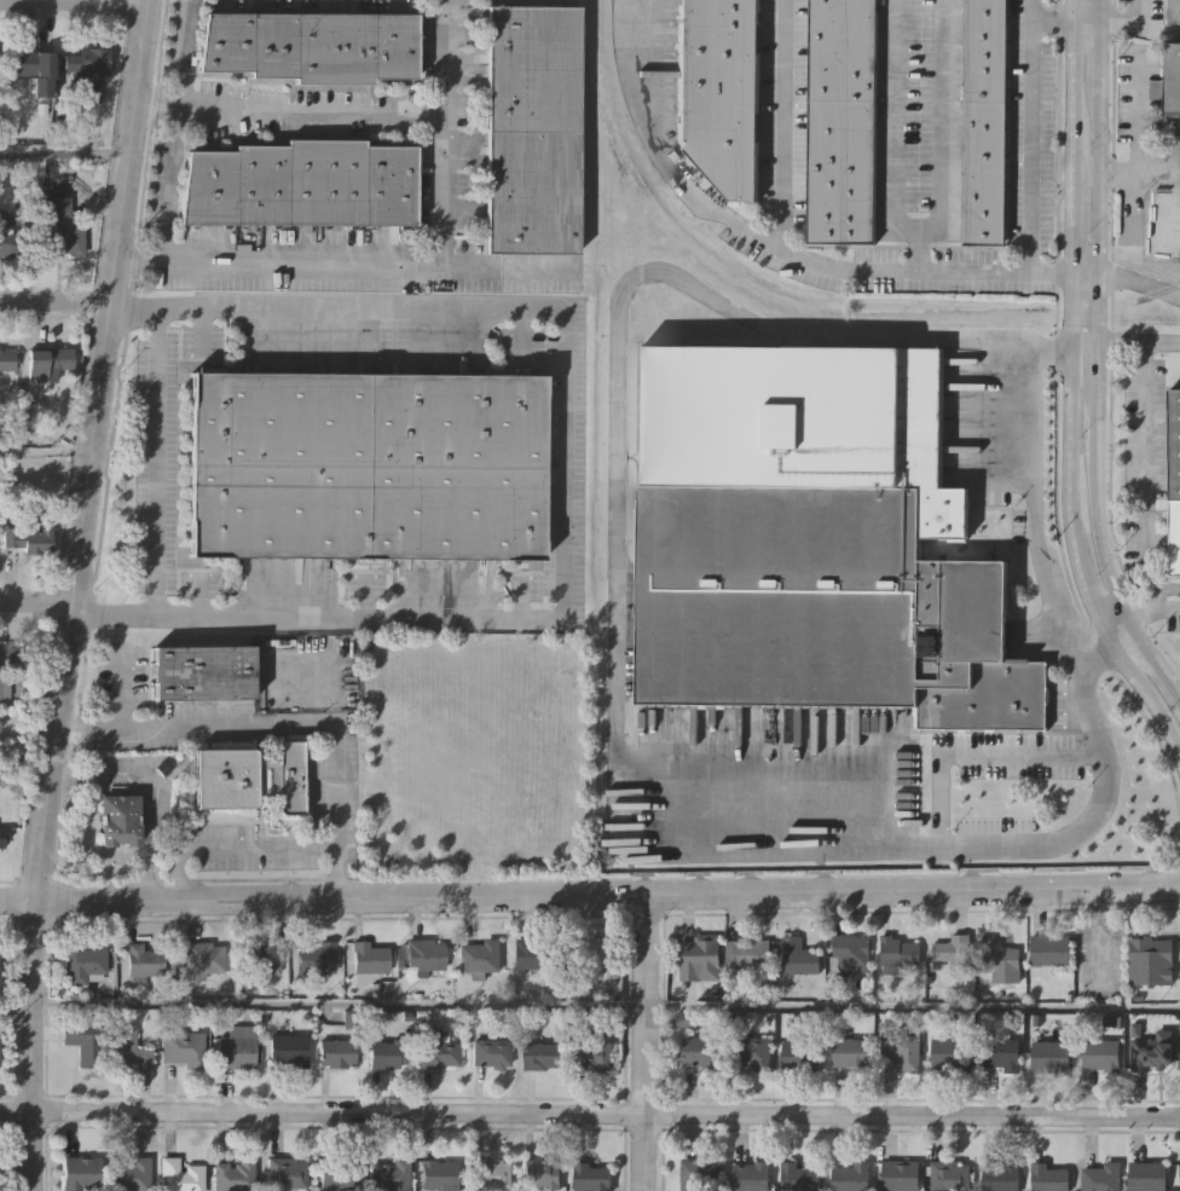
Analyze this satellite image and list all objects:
road: (74, 1)
road: (1035, 8)
road: (1099, 8)
road: (1141, 10)
building: (1174, 10)
road: (1066, 18)
road: (1120, 18)
road: (1159, 28)
building: (311, 47)
road: (186, 52)
building: (89, 59)
road: (1099, 63)
building: (33, 69)
building: (1173, 77)
building: (718, 89)
road: (943, 109)
road: (306, 111)
road: (893, 111)
building: (841, 120)
building: (985, 121)
road: (780, 123)
building: (531, 128)
road: (1136, 132)
road: (1032, 143)
road: (664, 146)
road: (64, 152)
road: (169, 163)
road: (1172, 164)
road: (1150, 169)
road: (1086, 172)
building: (300, 184)
road: (1097, 222)
building: (60, 229)
road: (906, 230)
building: (10, 236)
road: (918, 237)
road: (409, 265)
road: (846, 265)
road: (507, 266)
road: (1043, 267)
railway: (727, 272)
railway: (1176, 282)
road: (1173, 293)
road: (54, 301)
railway: (1092, 307)
railway: (1088, 322)
railway: (1159, 323)
road: (1138, 339)
road: (1084, 355)
building: (6, 362)
building: (45, 368)
road: (1072, 385)
road: (1095, 394)
railway: (632, 415)
building: (797, 420)
road: (45, 451)
road: (155, 461)
building: (365, 464)
road: (1144, 466)
building: (1174, 481)
road: (562, 484)
road: (1035, 515)
building: (28, 538)
road: (1100, 538)
road: (73, 594)
road: (1151, 597)
road: (36, 600)
building: (821, 605)
road: (613, 643)
road: (1155, 657)
building: (8, 664)
building: (204, 670)
road: (282, 724)
road: (27, 751)
road: (977, 751)
building: (250, 776)
road: (147, 792)
building: (118, 819)
building: (4, 834)
road: (232, 848)
road: (590, 894)
building: (1051, 949)
building: (591, 952)
building: (533, 953)
building: (751, 953)
building: (851, 953)
building: (953, 954)
building: (897, 955)
building: (424, 956)
building: (481, 956)
building: (701, 956)
building: (314, 958)
building: (369, 958)
building: (798, 958)
building: (203, 959)
building: (1151, 960)
building: (1000, 961)
building: (144, 962)
building: (258, 962)
building: (83, 964)
road: (337, 1004)
road: (913, 1005)
road: (15, 1011)
building: (80, 1042)
road: (646, 1042)
building: (236, 1046)
building: (127, 1047)
building: (181, 1047)
building: (287, 1050)
building: (436, 1050)
building: (752, 1051)
building: (902, 1051)
building: (336, 1052)
building: (388, 1052)
building: (701, 1052)
building: (1150, 1052)
building: (491, 1053)
building: (850, 1053)
building: (1001, 1053)
building: (540, 1054)
building: (592, 1054)
building: (949, 1054)
building: (1101, 1054)
building: (800, 1056)
building: (1048, 1056)
road: (590, 1111)
building: (80, 1173)
building: (285, 1173)
building: (337, 1173)
building: (491, 1173)
building: (540, 1174)
building: (700, 1174)
building: (129, 1175)
building: (180, 1175)
building: (233, 1175)
building: (389, 1175)
building: (438, 1175)
building: (752, 1175)
building: (901, 1175)
building: (950, 1175)
building: (1002, 1175)
building: (1149, 1175)
building: (590, 1176)
building: (799, 1176)
building: (849, 1176)
building: (1049, 1176)
building: (1103, 1176)

